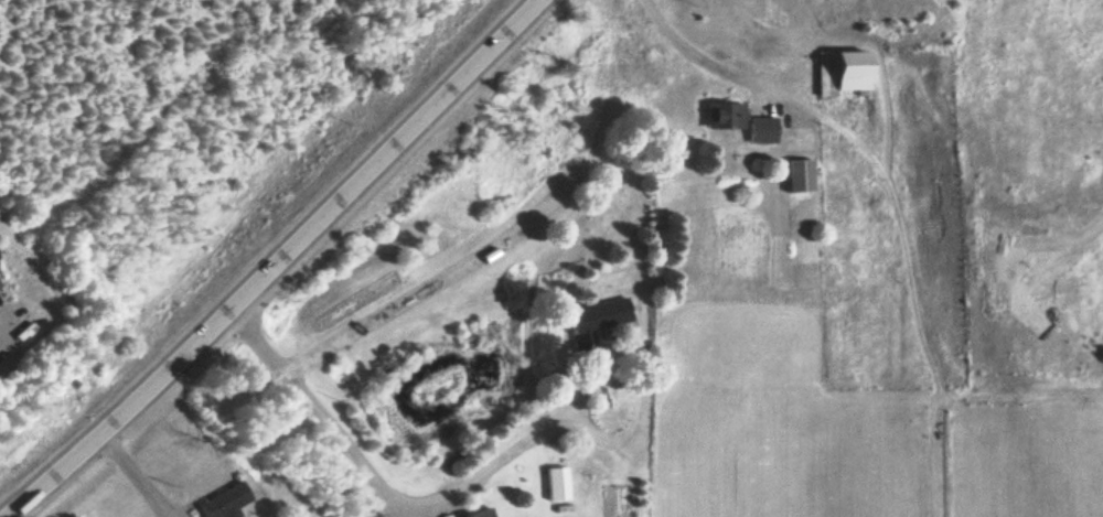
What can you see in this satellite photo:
building: (844, 74)
building: (724, 118)
building: (762, 132)
building: (800, 177)
road: (279, 262)
building: (592, 323)
building: (557, 486)
building: (222, 504)
building: (484, 514)

